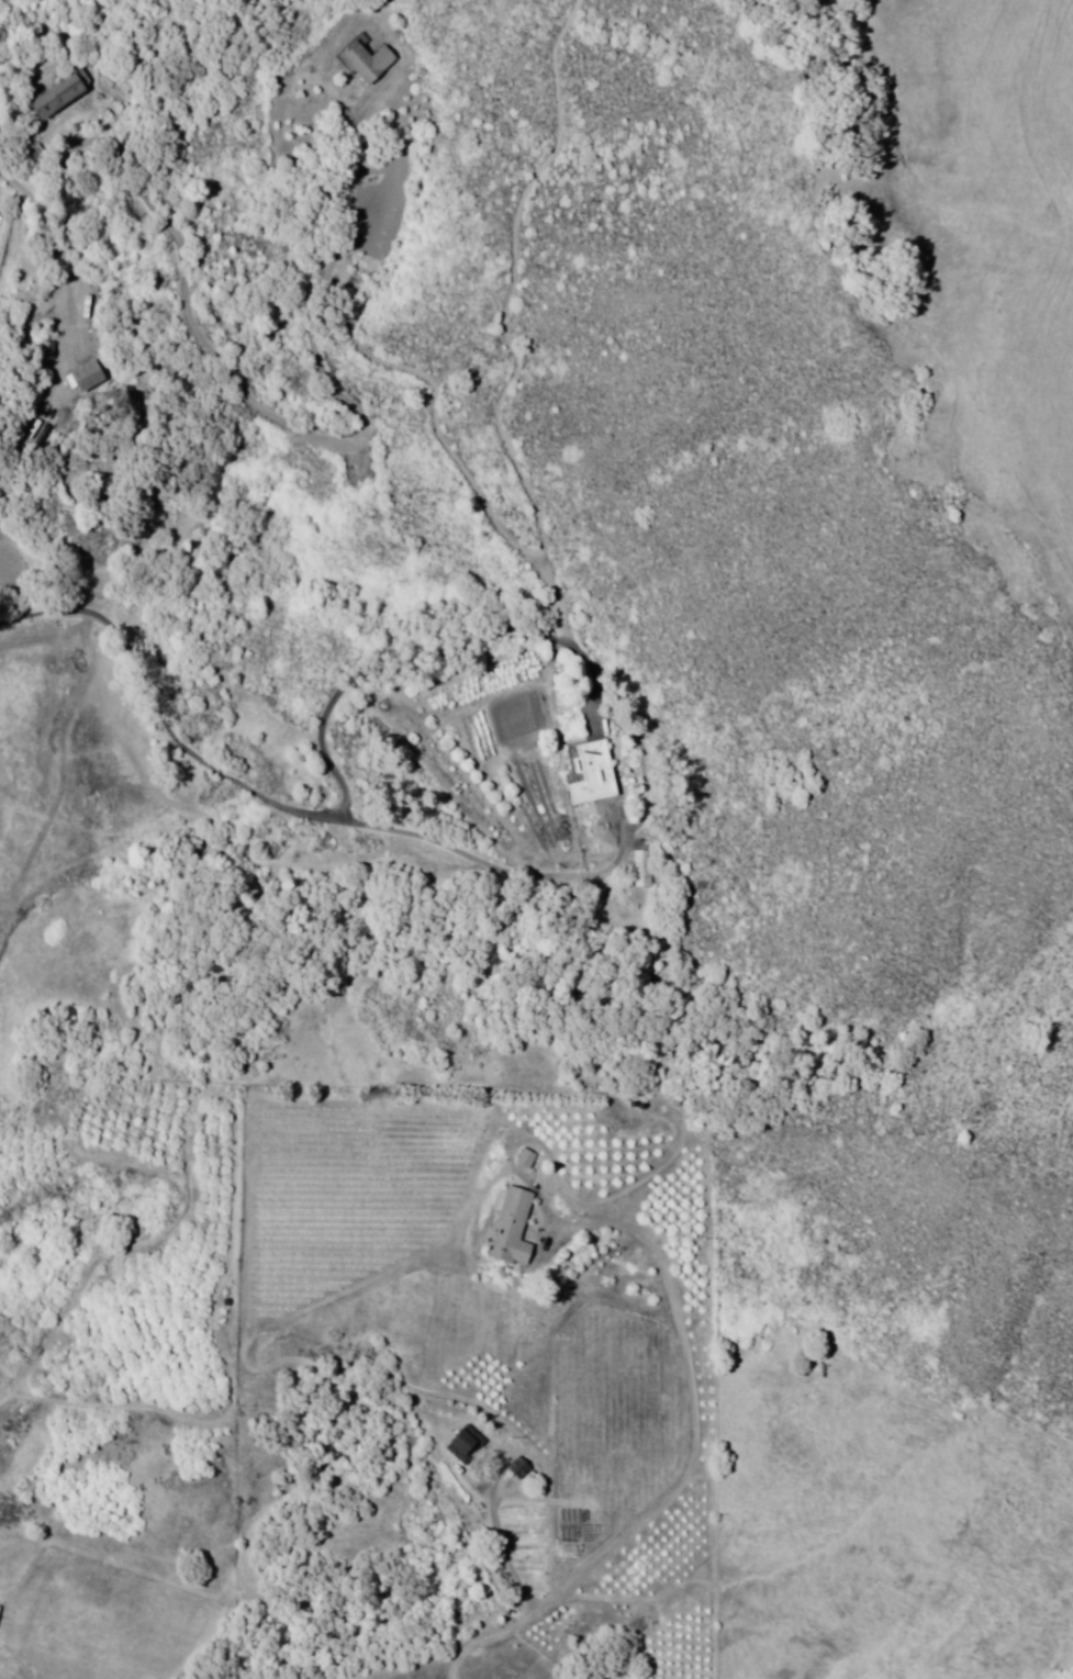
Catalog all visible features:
building: (368, 63)
building: (62, 93)
building: (35, 147)
road: (65, 157)
building: (4, 239)
building: (48, 348)
building: (88, 377)
road: (324, 436)
road: (521, 462)
road: (418, 649)
building: (595, 773)
road: (286, 804)
building: (645, 870)
storage tank: (641, 1104)
building: (528, 1156)
building: (515, 1225)
storage tank: (228, 1300)
building: (466, 1443)
road: (686, 1465)
building: (521, 1467)
building: (0, 1611)

